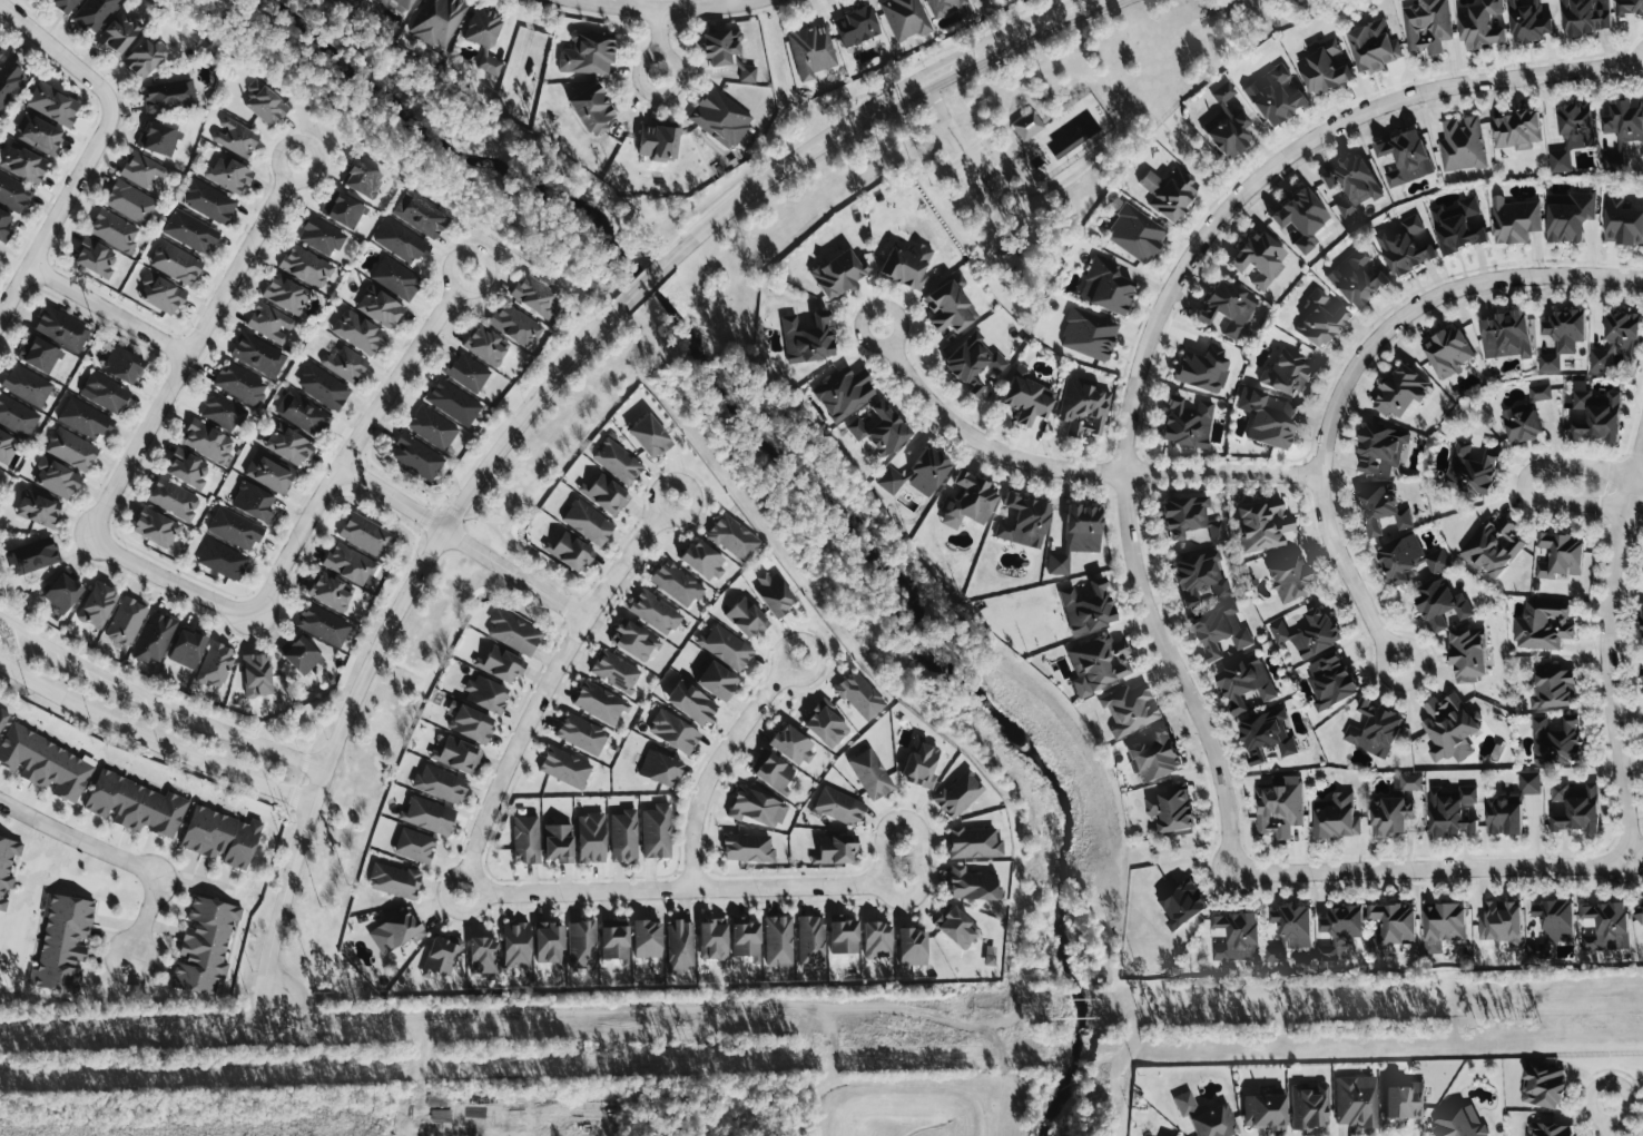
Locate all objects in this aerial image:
building: (975, 0)
building: (65, 4)
building: (397, 4)
building: (948, 8)
building: (1629, 8)
road: (668, 11)
building: (94, 13)
building: (1586, 16)
building: (904, 18)
building: (437, 20)
building: (1529, 21)
building: (1480, 24)
building: (856, 26)
building: (1427, 26)
building: (119, 32)
building: (483, 36)
road: (659, 45)
building: (720, 46)
building: (1373, 47)
building: (811, 49)
building: (1, 50)
road: (60, 51)
building: (587, 53)
building: (145, 57)
building: (1324, 69)
building: (747, 73)
building: (10, 78)
building: (169, 95)
building: (1275, 95)
building: (264, 102)
building: (52, 103)
road: (868, 108)
building: (591, 109)
building: (720, 117)
road: (1128, 118)
building: (1625, 120)
road: (953, 127)
building: (1024, 127)
park: (1060, 130)
building: (1516, 130)
building: (39, 135)
building: (235, 136)
building: (1572, 136)
building: (158, 139)
building: (658, 141)
building: (1462, 145)
building: (1404, 158)
building: (1613, 161)
building: (22, 164)
parking lot: (977, 167)
building: (141, 169)
building: (228, 174)
building: (363, 178)
building: (1352, 184)
building: (13, 192)
building: (1169, 192)
building: (129, 201)
building: (209, 201)
building: (344, 210)
building: (420, 214)
road: (58, 215)
building: (1568, 215)
building: (1300, 218)
building: (1514, 220)
building: (4, 224)
building: (1622, 224)
building: (1459, 226)
building: (114, 229)
building: (190, 230)
building: (1135, 233)
building: (319, 235)
building: (401, 241)
building: (1405, 247)
building: (95, 257)
building: (1259, 258)
building: (175, 263)
building: (906, 265)
building: (306, 266)
building: (838, 273)
building: (395, 277)
building: (1356, 279)
road: (641, 285)
building: (1105, 286)
building: (160, 293)
building: (285, 294)
building: (537, 297)
road: (609, 300)
building: (950, 305)
building: (380, 306)
building: (1227, 307)
road: (109, 309)
building: (1320, 319)
building: (269, 323)
building: (514, 325)
building: (61, 328)
building: (1566, 329)
building: (357, 332)
building: (1624, 332)
building: (1089, 334)
building: (1506, 335)
building: (807, 338)
building: (485, 345)
road: (193, 346)
building: (1448, 353)
building: (39, 354)
building: (257, 354)
building: (1600, 359)
building: (1548, 362)
building: (344, 363)
building: (973, 363)
building: (122, 364)
road: (1354, 367)
building: (1203, 368)
building: (468, 372)
building: (1287, 373)
building: (240, 383)
building: (27, 385)
building: (323, 387)
building: (1401, 391)
building: (104, 392)
building: (844, 393)
building: (1539, 393)
building: (1026, 396)
building: (452, 402)
building: (1083, 407)
building: (222, 411)
building: (303, 413)
building: (1595, 414)
building: (17, 416)
building: (85, 418)
building: (1268, 418)
building: (1521, 422)
building: (1187, 423)
building: (432, 427)
building: (880, 427)
building: (649, 435)
road: (356, 439)
building: (208, 441)
building: (288, 444)
building: (7, 446)
building: (70, 448)
building: (1381, 450)
building: (416, 456)
building: (617, 461)
building: (187, 468)
road: (1071, 468)
building: (1472, 470)
building: (927, 471)
building: (269, 472)
building: (56, 477)
building: (891, 480)
road: (1523, 484)
building: (604, 493)
building: (173, 498)
building: (968, 501)
building: (254, 502)
building: (37, 508)
road: (1127, 508)
building: (1380, 508)
building: (1183, 515)
building: (1022, 520)
building: (588, 522)
building: (1261, 525)
building: (155, 526)
building: (234, 529)
building: (364, 534)
building: (1076, 535)
building: (732, 537)
road: (437, 539)
road: (464, 540)
building: (1493, 546)
building: (569, 551)
building: (1560, 555)
building: (32, 556)
building: (223, 560)
building: (704, 560)
building: (1410, 560)
building: (348, 563)
building: (1200, 575)
road: (173, 579)
building: (1290, 579)
building: (676, 583)
building: (329, 591)
building: (62, 592)
building: (774, 593)
building: (97, 604)
building: (1440, 604)
building: (1088, 607)
building: (655, 612)
building: (746, 618)
building: (126, 621)
building: (323, 624)
building: (1542, 624)
building: (1642, 628)
building: (513, 632)
building: (1221, 632)
building: (1309, 633)
building: (155, 636)
building: (633, 640)
building: (726, 646)
building: (187, 648)
road: (1607, 649)
building: (302, 655)
building: (1467, 655)
building: (501, 663)
building: (1098, 663)
building: (215, 665)
building: (614, 670)
building: (257, 674)
road: (551, 680)
building: (1330, 680)
building: (1642, 680)
building: (717, 681)
building: (1244, 683)
building: (1553, 689)
building: (485, 693)
building: (859, 695)
road: (158, 700)
building: (600, 702)
building: (691, 702)
building: (1130, 709)
building: (2, 717)
building: (469, 722)
building: (825, 724)
building: (1449, 728)
building: (1375, 730)
building: (673, 731)
building: (1268, 732)
building: (581, 733)
road: (151, 740)
building: (1555, 741)
building: (791, 745)
building: (458, 754)
building: (1153, 755)
building: (1257, 757)
building: (45, 762)
road: (717, 762)
building: (921, 763)
building: (564, 767)
building: (659, 768)
building: (775, 772)
building: (870, 773)
building: (1407, 782)
building: (440, 783)
building: (957, 794)
building: (135, 804)
building: (838, 806)
building: (1511, 806)
building: (756, 807)
building: (1279, 807)
building: (1573, 808)
building: (1170, 809)
building: (1452, 812)
building: (427, 814)
building: (1390, 816)
building: (1337, 818)
building: (657, 831)
road: (921, 834)
building: (623, 836)
road: (77, 837)
building: (220, 837)
building: (590, 837)
building: (525, 839)
building: (558, 842)
building: (973, 842)
building: (414, 844)
building: (747, 847)
building: (835, 849)
building: (7, 866)
road: (450, 878)
building: (394, 880)
building: (972, 885)
road: (678, 889)
building: (1182, 903)
road: (282, 905)
road: (472, 907)
building: (1639, 913)
road: (146, 916)
building: (1555, 918)
building: (1501, 922)
building: (1293, 925)
building: (1443, 925)
building: (956, 926)
building: (1393, 926)
building: (1605, 926)
building: (395, 930)
building: (1340, 931)
building: (844, 935)
building: (1237, 936)
building: (647, 938)
building: (712, 938)
building: (745, 938)
building: (778, 939)
building: (614, 940)
building: (810, 940)
building: (876, 940)
building: (62, 942)
building: (549, 944)
building: (581, 944)
building: (515, 945)
building: (205, 946)
building: (679, 946)
building: (912, 947)
building: (1276, 952)
building: (442, 954)
building: (483, 955)
building: (1542, 1085)
building: (1356, 1100)
building: (1404, 1100)
building: (1184, 1103)
building: (1309, 1105)
road: (1626, 1108)
building: (1265, 1110)
road: (455, 1115)
building: (1214, 1122)
building: (1459, 1123)
building: (1549, 1129)
road: (1606, 1129)

